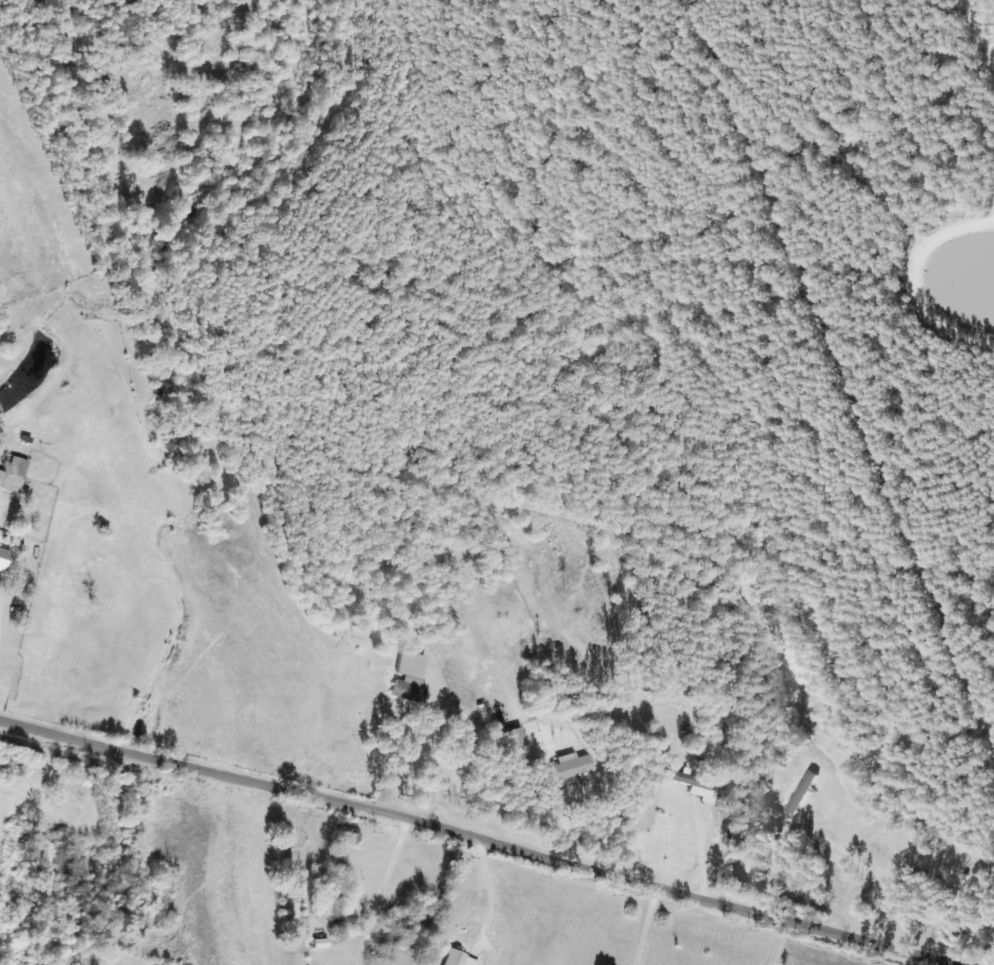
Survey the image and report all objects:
building: (11, 474)
building: (1, 553)
building: (407, 678)
building: (569, 766)
building: (685, 779)
road: (571, 818)
building: (346, 837)
road: (482, 839)
road: (865, 873)
building: (329, 902)

